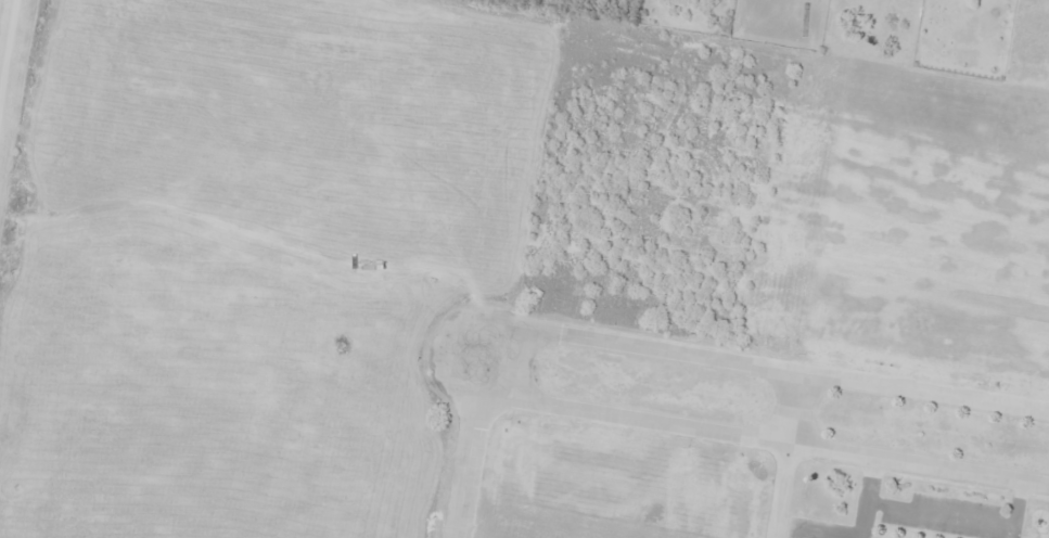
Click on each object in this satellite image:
road: (489, 351)
road: (469, 441)
road: (789, 456)

